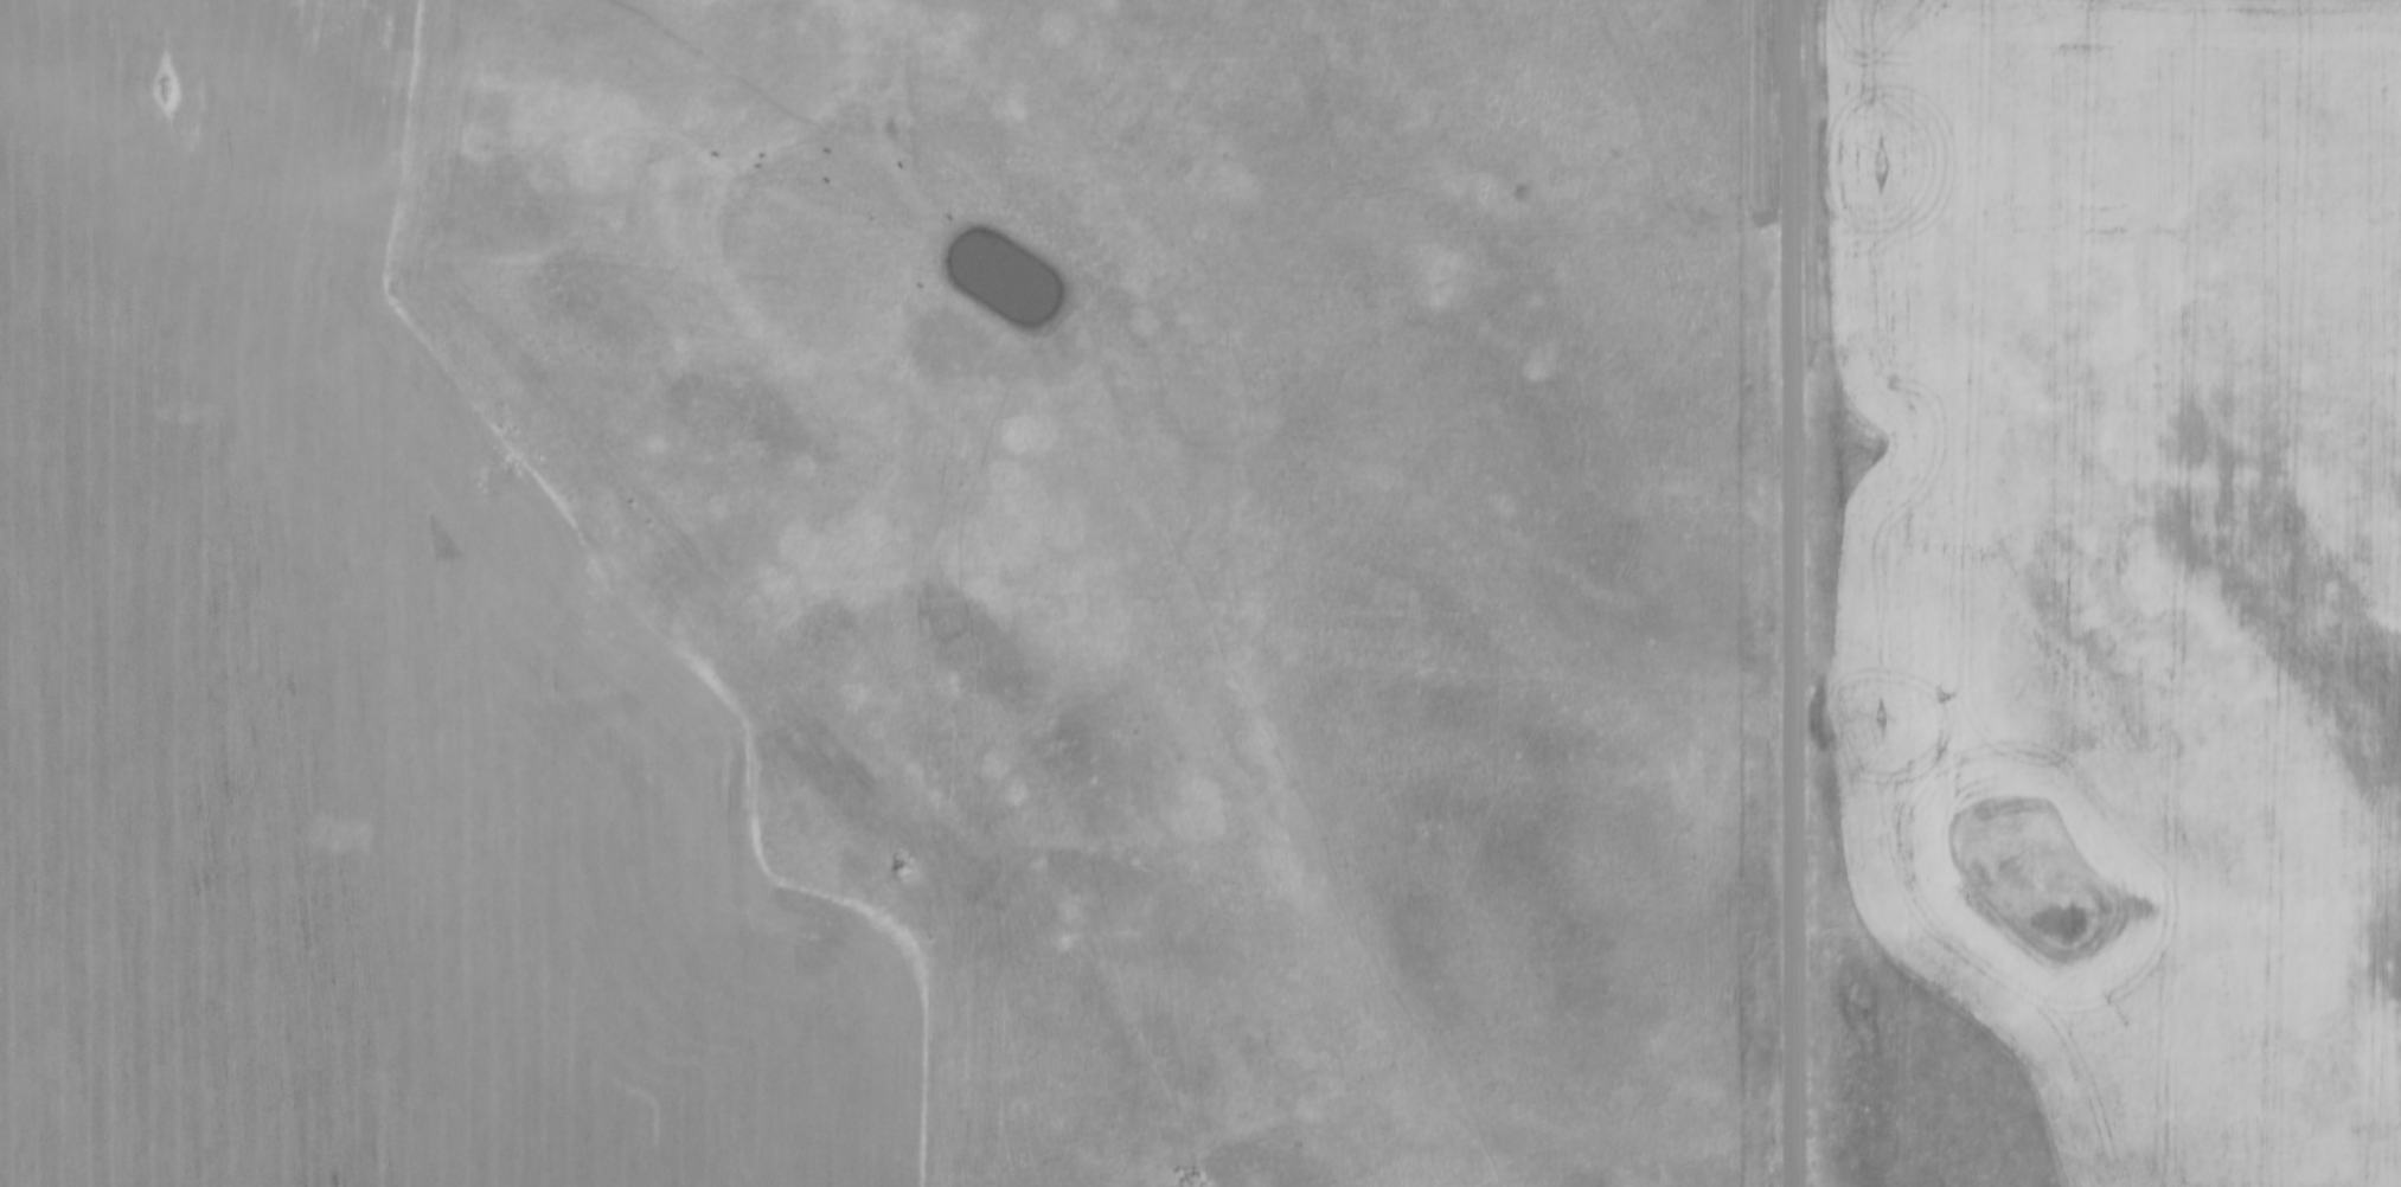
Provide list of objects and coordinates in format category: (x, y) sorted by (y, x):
road: (1793, 592)

